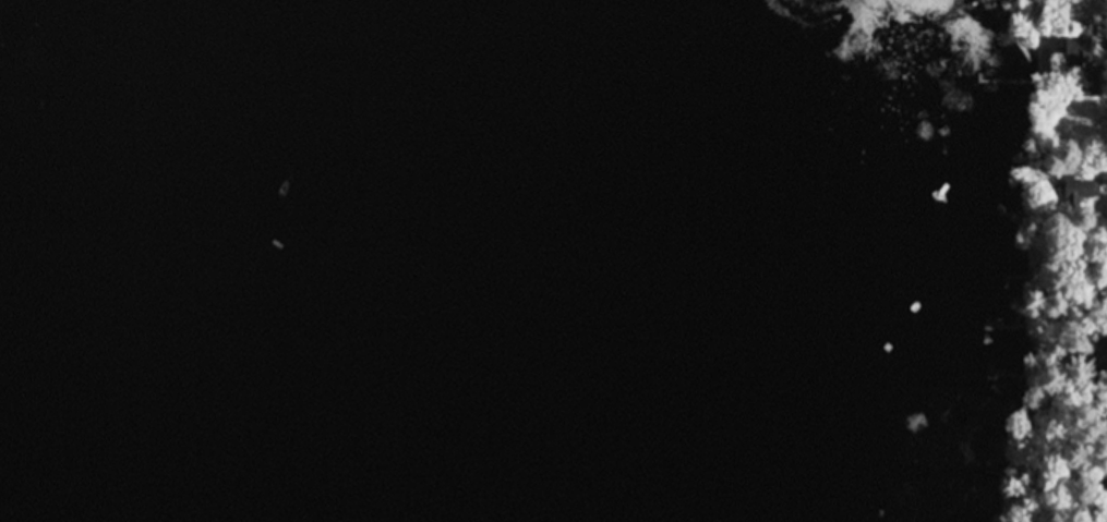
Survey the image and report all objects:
building: (1082, 70)
road: (1104, 160)
building: (1075, 193)

